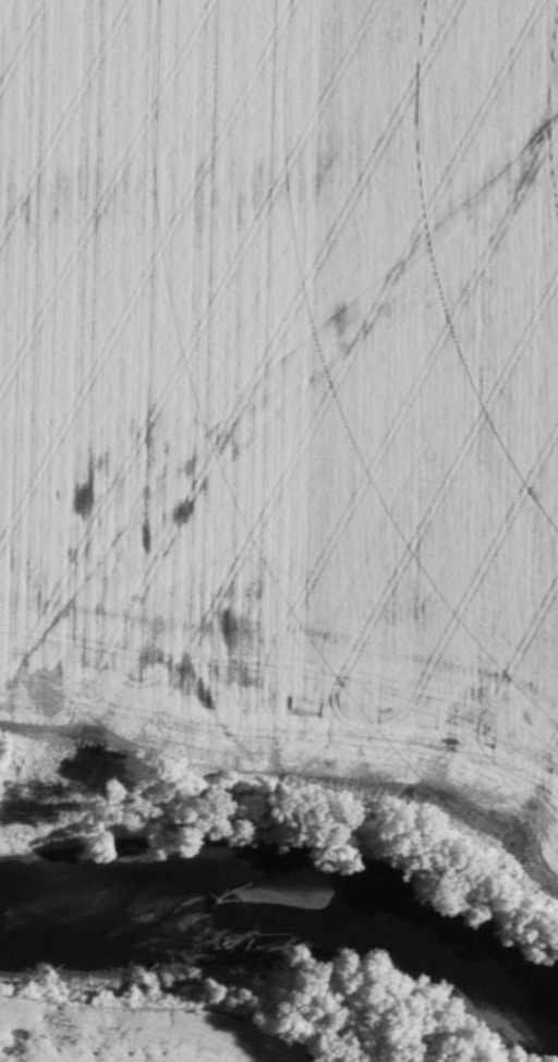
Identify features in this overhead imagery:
river: (307, 879)

